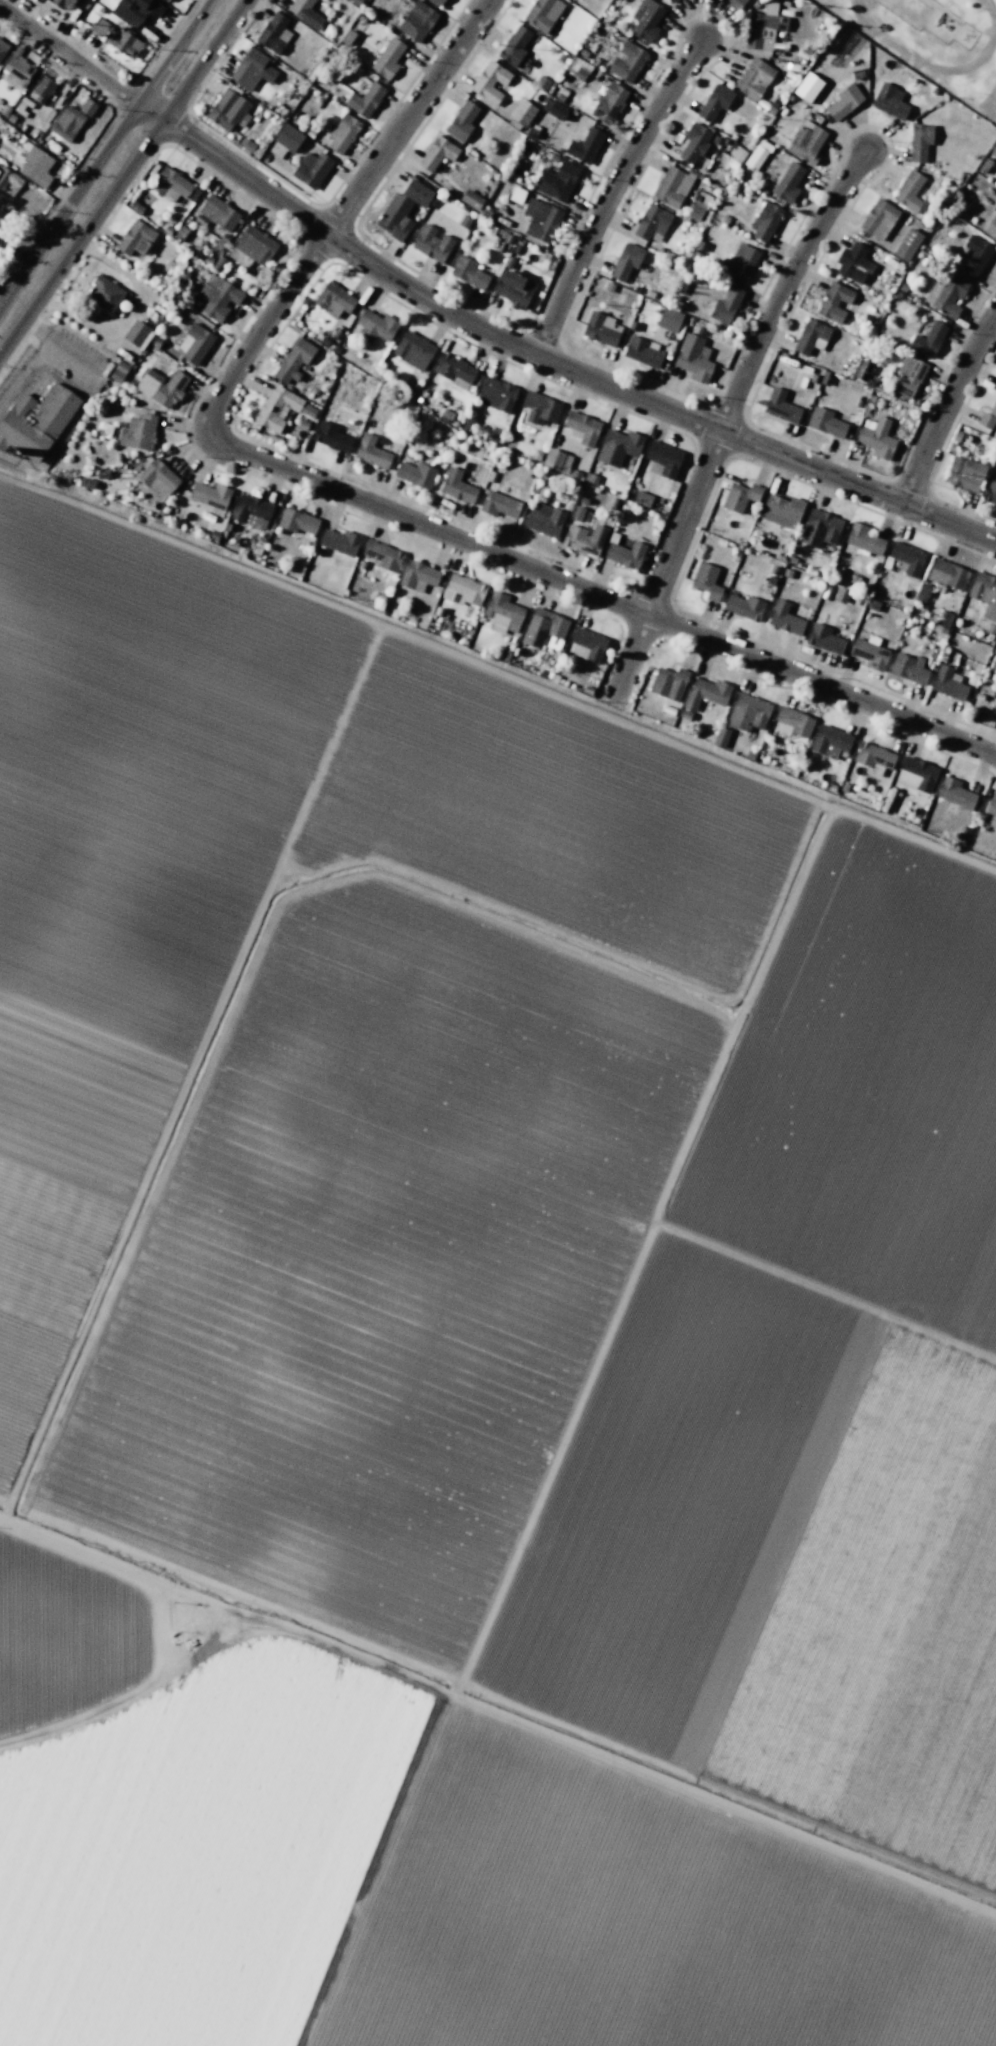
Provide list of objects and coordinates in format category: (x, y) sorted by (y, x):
building: (165, 0)
building: (619, 0)
building: (671, 1)
building: (355, 2)
building: (437, 2)
building: (61, 3)
building: (734, 4)
building: (135, 11)
building: (305, 13)
building: (542, 13)
building: (361, 17)
building: (645, 19)
building: (417, 21)
building: (763, 26)
building: (274, 33)
building: (347, 37)
building: (116, 38)
building: (514, 46)
building: (2, 48)
building: (387, 58)
building: (627, 61)
building: (577, 67)
building: (16, 68)
building: (253, 69)
building: (754, 77)
building: (490, 82)
building: (806, 87)
building: (42, 88)
building: (365, 99)
building: (844, 101)
building: (890, 101)
building: (714, 102)
building: (608, 103)
building: (21, 106)
building: (229, 109)
building: (553, 109)
building: (521, 112)
building: (71, 119)
building: (462, 120)
building: (343, 133)
building: (287, 137)
building: (715, 139)
building: (919, 141)
building: (693, 142)
building: (806, 142)
building: (246, 145)
building: (584, 145)
building: (994, 151)
road: (105, 152)
building: (437, 153)
building: (757, 154)
building: (733, 157)
building: (984, 165)
building: (36, 166)
building: (311, 169)
road: (121, 174)
building: (563, 180)
building: (9, 181)
building: (788, 183)
building: (170, 184)
building: (673, 187)
building: (907, 190)
road: (609, 193)
building: (516, 195)
building: (471, 199)
building: (135, 208)
building: (402, 210)
building: (695, 210)
building: (218, 212)
building: (540, 219)
building: (878, 219)
building: (764, 220)
building: (464, 222)
building: (652, 223)
building: (991, 226)
road: (330, 229)
building: (135, 238)
road: (17, 242)
building: (432, 244)
building: (907, 244)
building: (700, 246)
building: (252, 248)
building: (976, 255)
building: (626, 260)
building: (740, 262)
building: (853, 262)
building: (218, 263)
building: (468, 272)
building: (608, 286)
building: (681, 286)
building: (514, 289)
building: (104, 293)
building: (217, 295)
building: (945, 295)
building: (333, 299)
building: (834, 302)
building: (725, 305)
building: (668, 319)
road: (470, 324)
building: (633, 326)
building: (375, 327)
building: (601, 328)
building: (701, 330)
building: (135, 333)
building: (811, 336)
building: (928, 339)
building: (155, 342)
building: (194, 342)
building: (413, 350)
building: (641, 352)
building: (693, 357)
building: (292, 359)
building: (120, 367)
building: (453, 368)
building: (862, 370)
building: (114, 375)
building: (908, 375)
building: (826, 378)
building: (995, 384)
building: (161, 386)
building: (995, 387)
building: (496, 395)
road: (943, 405)
building: (780, 406)
building: (276, 408)
building: (541, 408)
building: (987, 416)
road: (724, 419)
building: (36, 422)
building: (825, 422)
building: (467, 423)
building: (302, 425)
building: (582, 427)
building: (103, 430)
building: (137, 432)
building: (331, 437)
building: (875, 438)
building: (618, 447)
building: (371, 452)
building: (552, 458)
building: (662, 459)
building: (575, 473)
building: (414, 474)
building: (964, 474)
building: (590, 478)
building: (156, 479)
building: (457, 486)
building: (990, 492)
building: (210, 494)
building: (740, 495)
building: (641, 498)
building: (498, 503)
building: (781, 510)
building: (251, 511)
building: (577, 512)
building: (543, 519)
building: (295, 522)
building: (818, 528)
building: (584, 539)
building: (863, 540)
building: (338, 541)
building: (625, 554)
building: (382, 555)
building: (905, 558)
building: (791, 560)
building: (773, 569)
building: (839, 571)
building: (786, 572)
building: (946, 573)
building: (418, 576)
building: (854, 577)
building: (706, 580)
building: (771, 580)
building: (462, 590)
building: (922, 592)
building: (984, 593)
building: (841, 594)
road: (621, 604)
building: (873, 605)
building: (743, 606)
building: (501, 613)
building: (784, 618)
building: (946, 619)
building: (542, 628)
building: (940, 630)
building: (824, 638)
building: (589, 643)
building: (870, 653)
building: (908, 667)
building: (668, 683)
building: (947, 683)
building: (706, 692)
building: (748, 712)
building: (684, 714)
building: (994, 718)
building: (793, 721)
building: (720, 737)
building: (830, 741)
building: (873, 758)
building: (917, 774)
building: (955, 793)
building: (991, 812)
building: (961, 833)
crop: (474, 1348)

